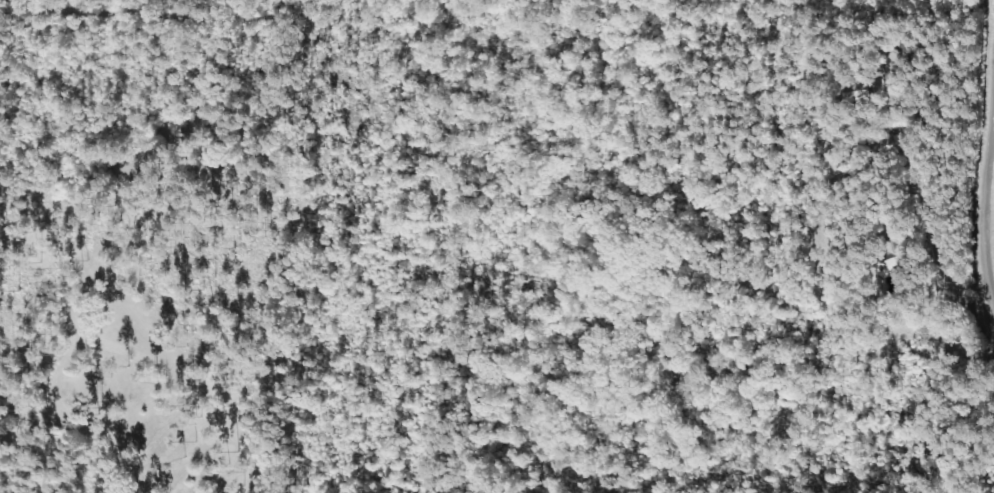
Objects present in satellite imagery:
road: (946, 167)
road: (684, 257)

